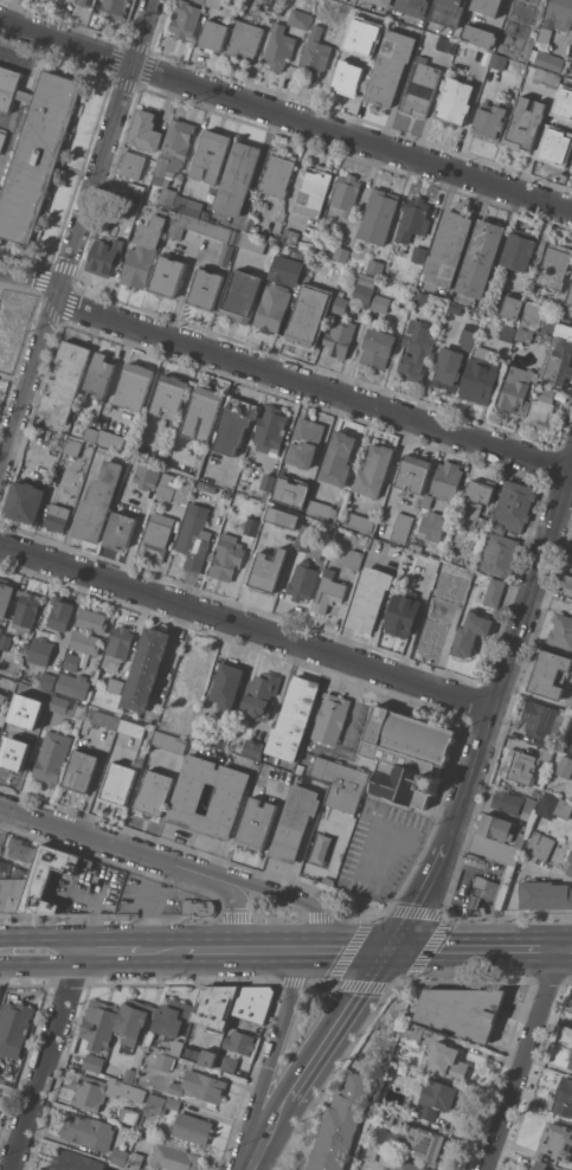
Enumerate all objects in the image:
building: (41, 0)
building: (51, 0)
building: (200, 0)
building: (84, 2)
building: (214, 2)
building: (383, 2)
building: (270, 5)
building: (487, 6)
building: (413, 7)
building: (525, 7)
building: (114, 8)
building: (448, 11)
building: (296, 17)
building: (557, 18)
building: (185, 19)
building: (213, 36)
building: (478, 36)
building: (245, 39)
building: (431, 40)
building: (446, 44)
building: (373, 46)
building: (518, 46)
building: (278, 47)
building: (314, 51)
building: (548, 60)
building: (499, 62)
building: (391, 67)
building: (349, 73)
building: (548, 77)
building: (8, 88)
building: (420, 88)
building: (24, 96)
building: (455, 102)
road: (285, 115)
building: (489, 120)
building: (525, 123)
building: (146, 130)
building: (558, 136)
building: (2, 140)
building: (173, 152)
building: (37, 154)
building: (211, 155)
building: (133, 165)
building: (277, 174)
building: (237, 178)
building: (135, 188)
building: (1, 191)
building: (314, 191)
building: (346, 193)
building: (167, 197)
building: (129, 202)
building: (188, 205)
building: (379, 216)
building: (413, 219)
building: (185, 224)
building: (218, 231)
building: (290, 236)
road: (75, 237)
building: (252, 243)
building: (144, 249)
building: (448, 249)
building: (520, 249)
building: (104, 253)
building: (341, 253)
building: (418, 253)
building: (480, 257)
building: (216, 262)
building: (374, 266)
building: (554, 266)
building: (285, 270)
building: (167, 276)
building: (307, 279)
building: (205, 289)
building: (364, 289)
building: (242, 296)
building: (420, 297)
building: (570, 297)
building: (381, 303)
building: (341, 304)
building: (512, 306)
building: (272, 307)
building: (455, 309)
building: (533, 311)
building: (308, 315)
building: (473, 321)
building: (548, 323)
building: (564, 330)
building: (507, 333)
building: (525, 333)
building: (339, 335)
building: (467, 339)
building: (377, 348)
building: (417, 349)
building: (557, 360)
building: (448, 368)
building: (99, 373)
road: (282, 375)
building: (480, 377)
road: (14, 378)
building: (66, 381)
building: (135, 385)
building: (518, 390)
building: (171, 394)
building: (544, 410)
building: (204, 412)
building: (234, 425)
building: (270, 430)
building: (91, 433)
building: (110, 438)
building: (304, 442)
building: (73, 446)
building: (339, 458)
building: (374, 470)
building: (413, 474)
building: (146, 475)
building: (446, 480)
building: (268, 482)
building: (200, 486)
building: (210, 487)
building: (166, 488)
building: (290, 490)
building: (481, 490)
building: (184, 493)
building: (225, 494)
building: (25, 501)
building: (428, 501)
building: (98, 502)
building: (514, 506)
building: (321, 509)
building: (57, 516)
building: (282, 517)
building: (476, 517)
building: (359, 522)
building: (251, 526)
building: (401, 527)
building: (431, 527)
building: (120, 529)
building: (499, 529)
building: (156, 536)
building: (194, 536)
building: (304, 536)
building: (414, 546)
building: (499, 554)
building: (227, 557)
building: (354, 559)
building: (458, 559)
building: (268, 570)
building: (465, 576)
building: (302, 580)
building: (567, 585)
building: (328, 592)
building: (494, 592)
building: (5, 596)
building: (369, 599)
building: (26, 610)
building: (59, 613)
building: (401, 613)
building: (437, 618)
building: (91, 619)
road: (248, 626)
building: (0, 630)
building: (561, 630)
building: (470, 632)
building: (5, 642)
building: (84, 642)
building: (118, 645)
building: (40, 650)
building: (71, 661)
building: (146, 669)
building: (191, 669)
building: (548, 674)
building: (47, 681)
building: (227, 683)
building: (115, 684)
building: (73, 686)
building: (26, 694)
building: (259, 695)
building: (2, 697)
building: (63, 705)
building: (561, 712)
building: (294, 718)
building: (330, 718)
road: (491, 718)
building: (104, 719)
building: (541, 720)
building: (182, 722)
building: (131, 728)
building: (200, 731)
building: (220, 738)
building: (169, 741)
building: (570, 744)
building: (18, 745)
building: (253, 748)
building: (547, 753)
building: (406, 754)
building: (52, 757)
building: (519, 765)
building: (564, 766)
building: (81, 771)
building: (340, 782)
building: (120, 783)
building: (154, 793)
building: (227, 798)
building: (507, 801)
building: (529, 804)
building: (553, 805)
building: (295, 822)
building: (256, 824)
building: (495, 827)
road: (81, 832)
building: (521, 838)
building: (540, 846)
building: (21, 848)
building: (568, 864)
building: (509, 869)
building: (49, 876)
building: (327, 879)
road: (262, 887)
building: (12, 888)
road: (224, 888)
building: (545, 894)
building: (199, 907)
road: (475, 950)
road: (565, 950)
traffic signals: (392, 951)
road: (41, 952)
road: (111, 952)
road: (162, 952)
road: (211, 952)
road: (314, 952)
building: (0, 988)
building: (216, 1005)
building: (251, 1007)
building: (463, 1010)
building: (173, 1017)
building: (133, 1018)
building: (99, 1024)
building: (14, 1028)
building: (413, 1030)
building: (240, 1042)
building: (175, 1047)
building: (198, 1055)
road: (322, 1059)
road: (274, 1060)
building: (445, 1060)
road: (521, 1060)
road: (49, 1061)
building: (163, 1061)
building: (94, 1062)
building: (571, 1062)
building: (230, 1063)
building: (129, 1075)
building: (200, 1086)
building: (104, 1092)
building: (436, 1098)
building: (564, 1098)
building: (173, 1102)
building: (155, 1105)
building: (129, 1114)
building: (386, 1116)
building: (341, 1124)
building: (192, 1127)
building: (89, 1131)
building: (425, 1142)
building: (555, 1142)
building: (120, 1156)
building: (174, 1156)
building: (135, 1159)
building: (75, 1161)
building: (409, 1165)
building: (540, 1165)
building: (126, 1169)
building: (127, 1169)

